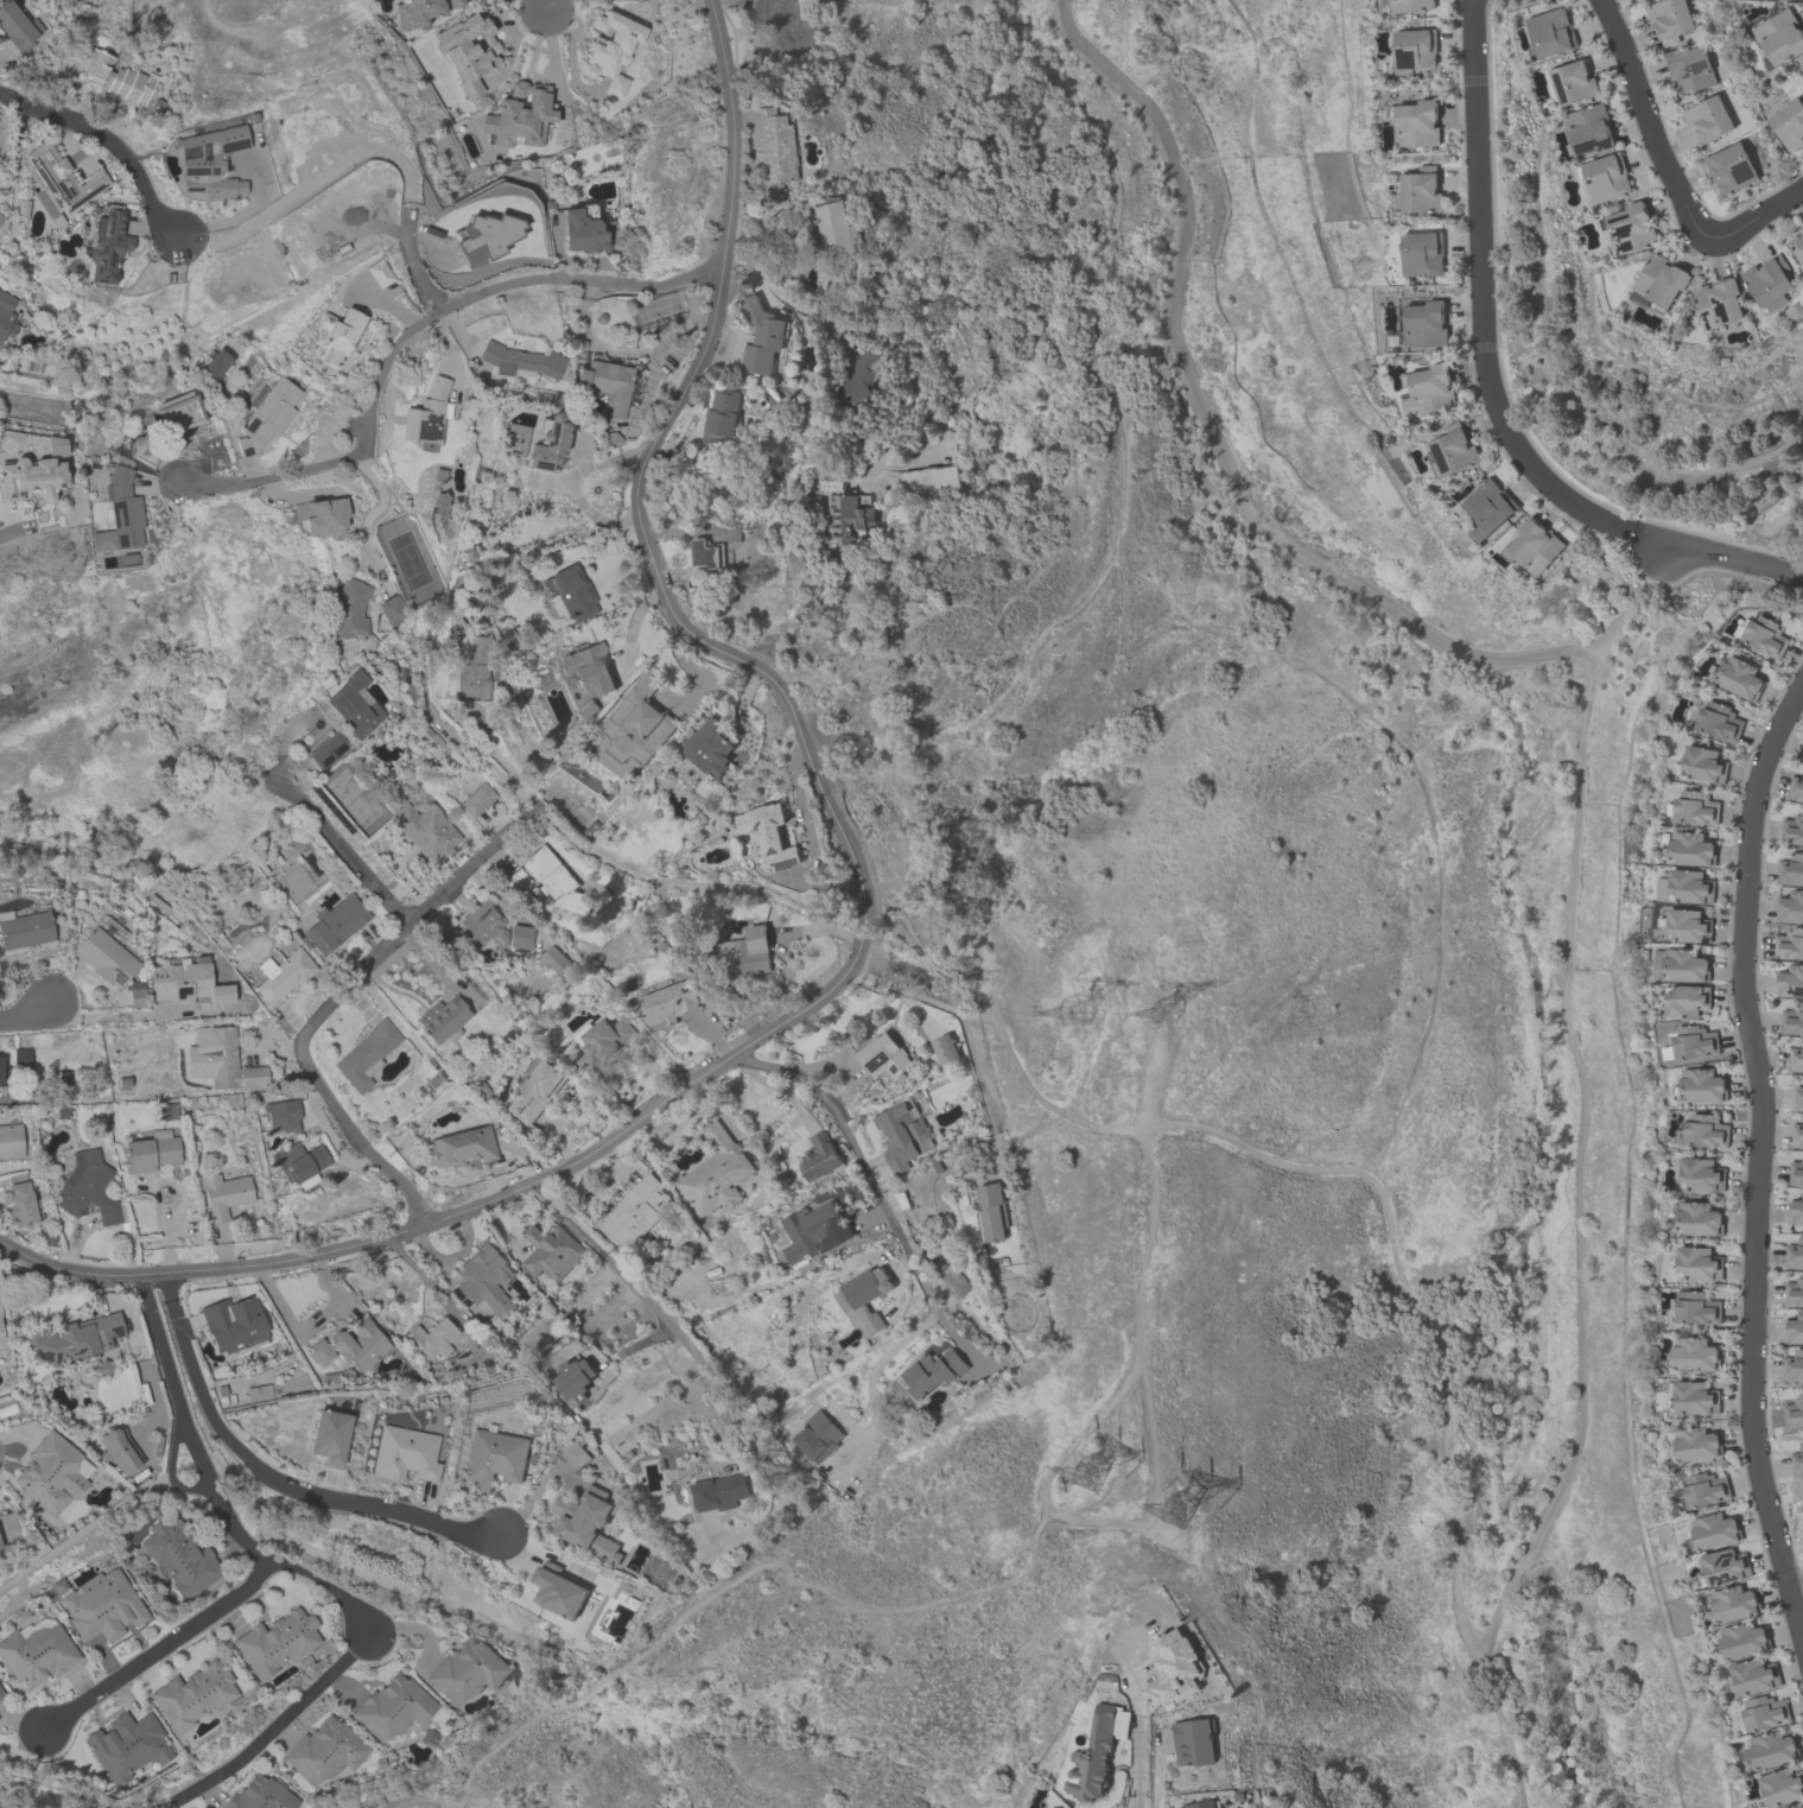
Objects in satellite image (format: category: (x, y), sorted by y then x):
building: (1784, 0)
building: (1411, 5)
road: (545, 6)
building: (415, 11)
building: (1669, 19)
building: (17, 24)
road: (514, 30)
road: (567, 31)
building: (1551, 33)
building: (1780, 36)
road: (551, 49)
building: (610, 49)
building: (468, 50)
building: (1415, 51)
building: (1690, 69)
building: (115, 77)
building: (1573, 83)
building: (519, 116)
building: (1708, 119)
road: (1656, 123)
building: (1789, 123)
building: (1417, 125)
building: (1588, 129)
road: (107, 140)
building: (776, 148)
building: (208, 160)
building: (1729, 169)
building: (57, 176)
building: (1604, 177)
building: (1418, 191)
road: (242, 211)
road: (1757, 215)
building: (0, 216)
building: (582, 229)
building: (832, 229)
building: (1630, 229)
building: (489, 231)
building: (107, 245)
building: (1798, 246)
building: (1421, 254)
building: (379, 273)
building: (1661, 281)
building: (1769, 283)
road: (1483, 284)
building: (1718, 304)
building: (6, 315)
building: (1424, 324)
road: (411, 328)
building: (338, 334)
road: (866, 336)
building: (761, 337)
building: (520, 360)
building: (216, 363)
building: (857, 378)
building: (604, 383)
building: (1428, 391)
building: (179, 413)
building: (425, 413)
building: (266, 415)
building: (722, 415)
road: (1212, 425)
building: (513, 438)
building: (546, 443)
building: (55, 445)
building: (146, 451)
building: (1452, 451)
building: (31, 477)
road: (574, 483)
road: (288, 495)
building: (100, 497)
road: (636, 499)
building: (122, 507)
building: (1487, 508)
road: (369, 513)
building: (320, 516)
building: (847, 519)
road: (1618, 528)
road: (9, 529)
road: (1764, 537)
building: (112, 541)
road: (1650, 541)
building: (1534, 545)
building: (707, 554)
road: (1734, 566)
building: (571, 592)
building: (349, 608)
building: (391, 610)
building: (1765, 636)
building: (471, 666)
building: (589, 668)
building: (1740, 678)
building: (354, 704)
building: (640, 721)
building: (1720, 722)
building: (710, 748)
building: (328, 749)
building: (1802, 756)
building: (1703, 765)
building: (1796, 788)
building: (476, 799)
building: (1696, 808)
building: (425, 830)
building: (1792, 830)
building: (768, 835)
building: (1691, 849)
road: (344, 850)
building: (1791, 869)
building: (555, 880)
building: (516, 884)
road: (734, 887)
building: (1690, 887)
building: (1790, 907)
building: (330, 922)
building: (1688, 926)
building: (490, 927)
building: (24, 930)
road: (785, 938)
building: (1789, 944)
building: (751, 953)
building: (104, 954)
road: (438, 954)
building: (554, 959)
building: (1685, 966)
building: (281, 973)
building: (186, 982)
building: (1790, 982)
building: (135, 992)
road: (361, 1001)
building: (1685, 1001)
building: (668, 1003)
power tower: (1097, 1003)
road: (27, 1010)
road: (322, 1010)
power tower: (1180, 1010)
road: (107, 1014)
building: (440, 1017)
park: (1167, 1019)
road: (723, 1026)
road: (966, 1035)
building: (603, 1041)
building: (1690, 1043)
building: (945, 1049)
building: (366, 1054)
building: (883, 1055)
building: (0, 1059)
building: (220, 1059)
building: (1796, 1059)
road: (821, 1065)
road: (653, 1070)
building: (4, 1074)
building: (1702, 1086)
road: (780, 1087)
building: (534, 1092)
building: (1798, 1098)
building: (281, 1115)
building: (1704, 1131)
road: (559, 1134)
building: (902, 1135)
building: (1797, 1135)
road: (331, 1136)
building: (11, 1140)
building: (461, 1147)
building: (150, 1153)
building: (819, 1157)
road: (861, 1159)
road: (1759, 1159)
building: (299, 1161)
building: (715, 1173)
road: (1585, 1173)
building: (1796, 1173)
building: (1701, 1175)
building: (88, 1187)
building: (224, 1193)
building: (23, 1203)
road: (470, 1206)
building: (991, 1212)
building: (1796, 1212)
building: (634, 1213)
building: (1696, 1219)
road: (161, 1222)
road: (501, 1229)
building: (814, 1231)
building: (551, 1251)
road: (452, 1255)
building: (1795, 1255)
building: (1699, 1264)
road: (615, 1268)
road: (897, 1270)
building: (484, 1279)
building: (952, 1280)
building: (1794, 1293)
building: (864, 1295)
road: (278, 1296)
building: (1696, 1308)
building: (233, 1322)
building: (1794, 1330)
building: (1, 1339)
building: (72, 1339)
building: (430, 1339)
road: (960, 1341)
road: (645, 1343)
building: (358, 1344)
building: (319, 1352)
building: (1695, 1355)
building: (103, 1366)
building: (1794, 1366)
building: (932, 1372)
building: (574, 1379)
road: (870, 1383)
road: (174, 1388)
building: (258, 1393)
building: (1694, 1398)
building: (1795, 1413)
building: (329, 1436)
building: (818, 1436)
building: (1695, 1445)
building: (119, 1449)
building: (405, 1453)
building: (576, 1455)
building: (493, 1458)
road: (768, 1460)
building: (1797, 1463)
building: (50, 1473)
power tower: (1100, 1473)
road: (269, 1478)
building: (1704, 1490)
building: (719, 1492)
power tower: (1187, 1502)
building: (586, 1523)
building: (1714, 1531)
building: (0, 1547)
building: (182, 1556)
road: (293, 1566)
building: (1725, 1567)
building: (558, 1593)
road: (1797, 1594)
building: (1733, 1604)
building: (101, 1606)
road: (411, 1629)
building: (1744, 1641)
building: (275, 1642)
road: (163, 1644)
building: (36, 1654)
building: (1175, 1669)
building: (466, 1670)
building: (1753, 1677)
building: (1, 1695)
building: (193, 1695)
building: (393, 1707)
building: (1764, 1713)
road: (278, 1721)
road: (1138, 1738)
building: (1193, 1742)
building: (127, 1747)
building: (324, 1750)
building: (1772, 1750)
building: (1097, 1752)
park: (51, 1778)
building: (1782, 1784)
building: (260, 1794)
building: (1200, 1804)
building: (1794, 1806)
building: (1059, 1807)

